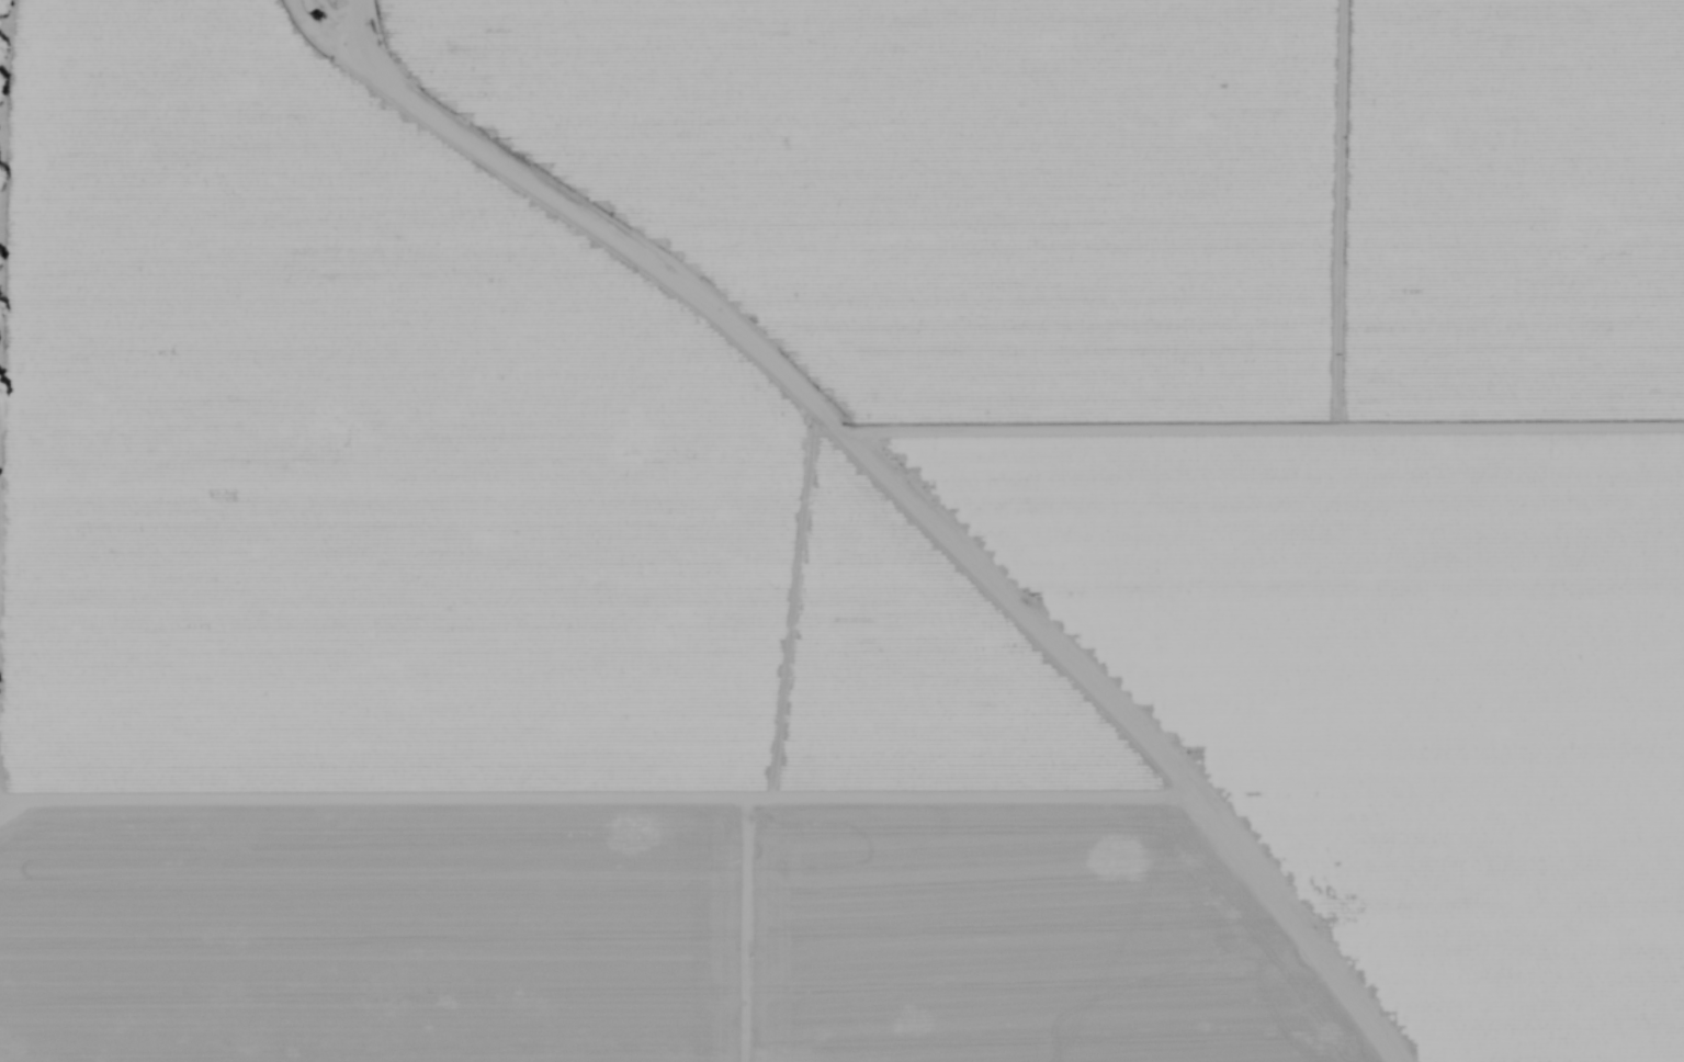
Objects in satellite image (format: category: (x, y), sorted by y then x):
crop: (438, 479)
crop: (1071, 560)

